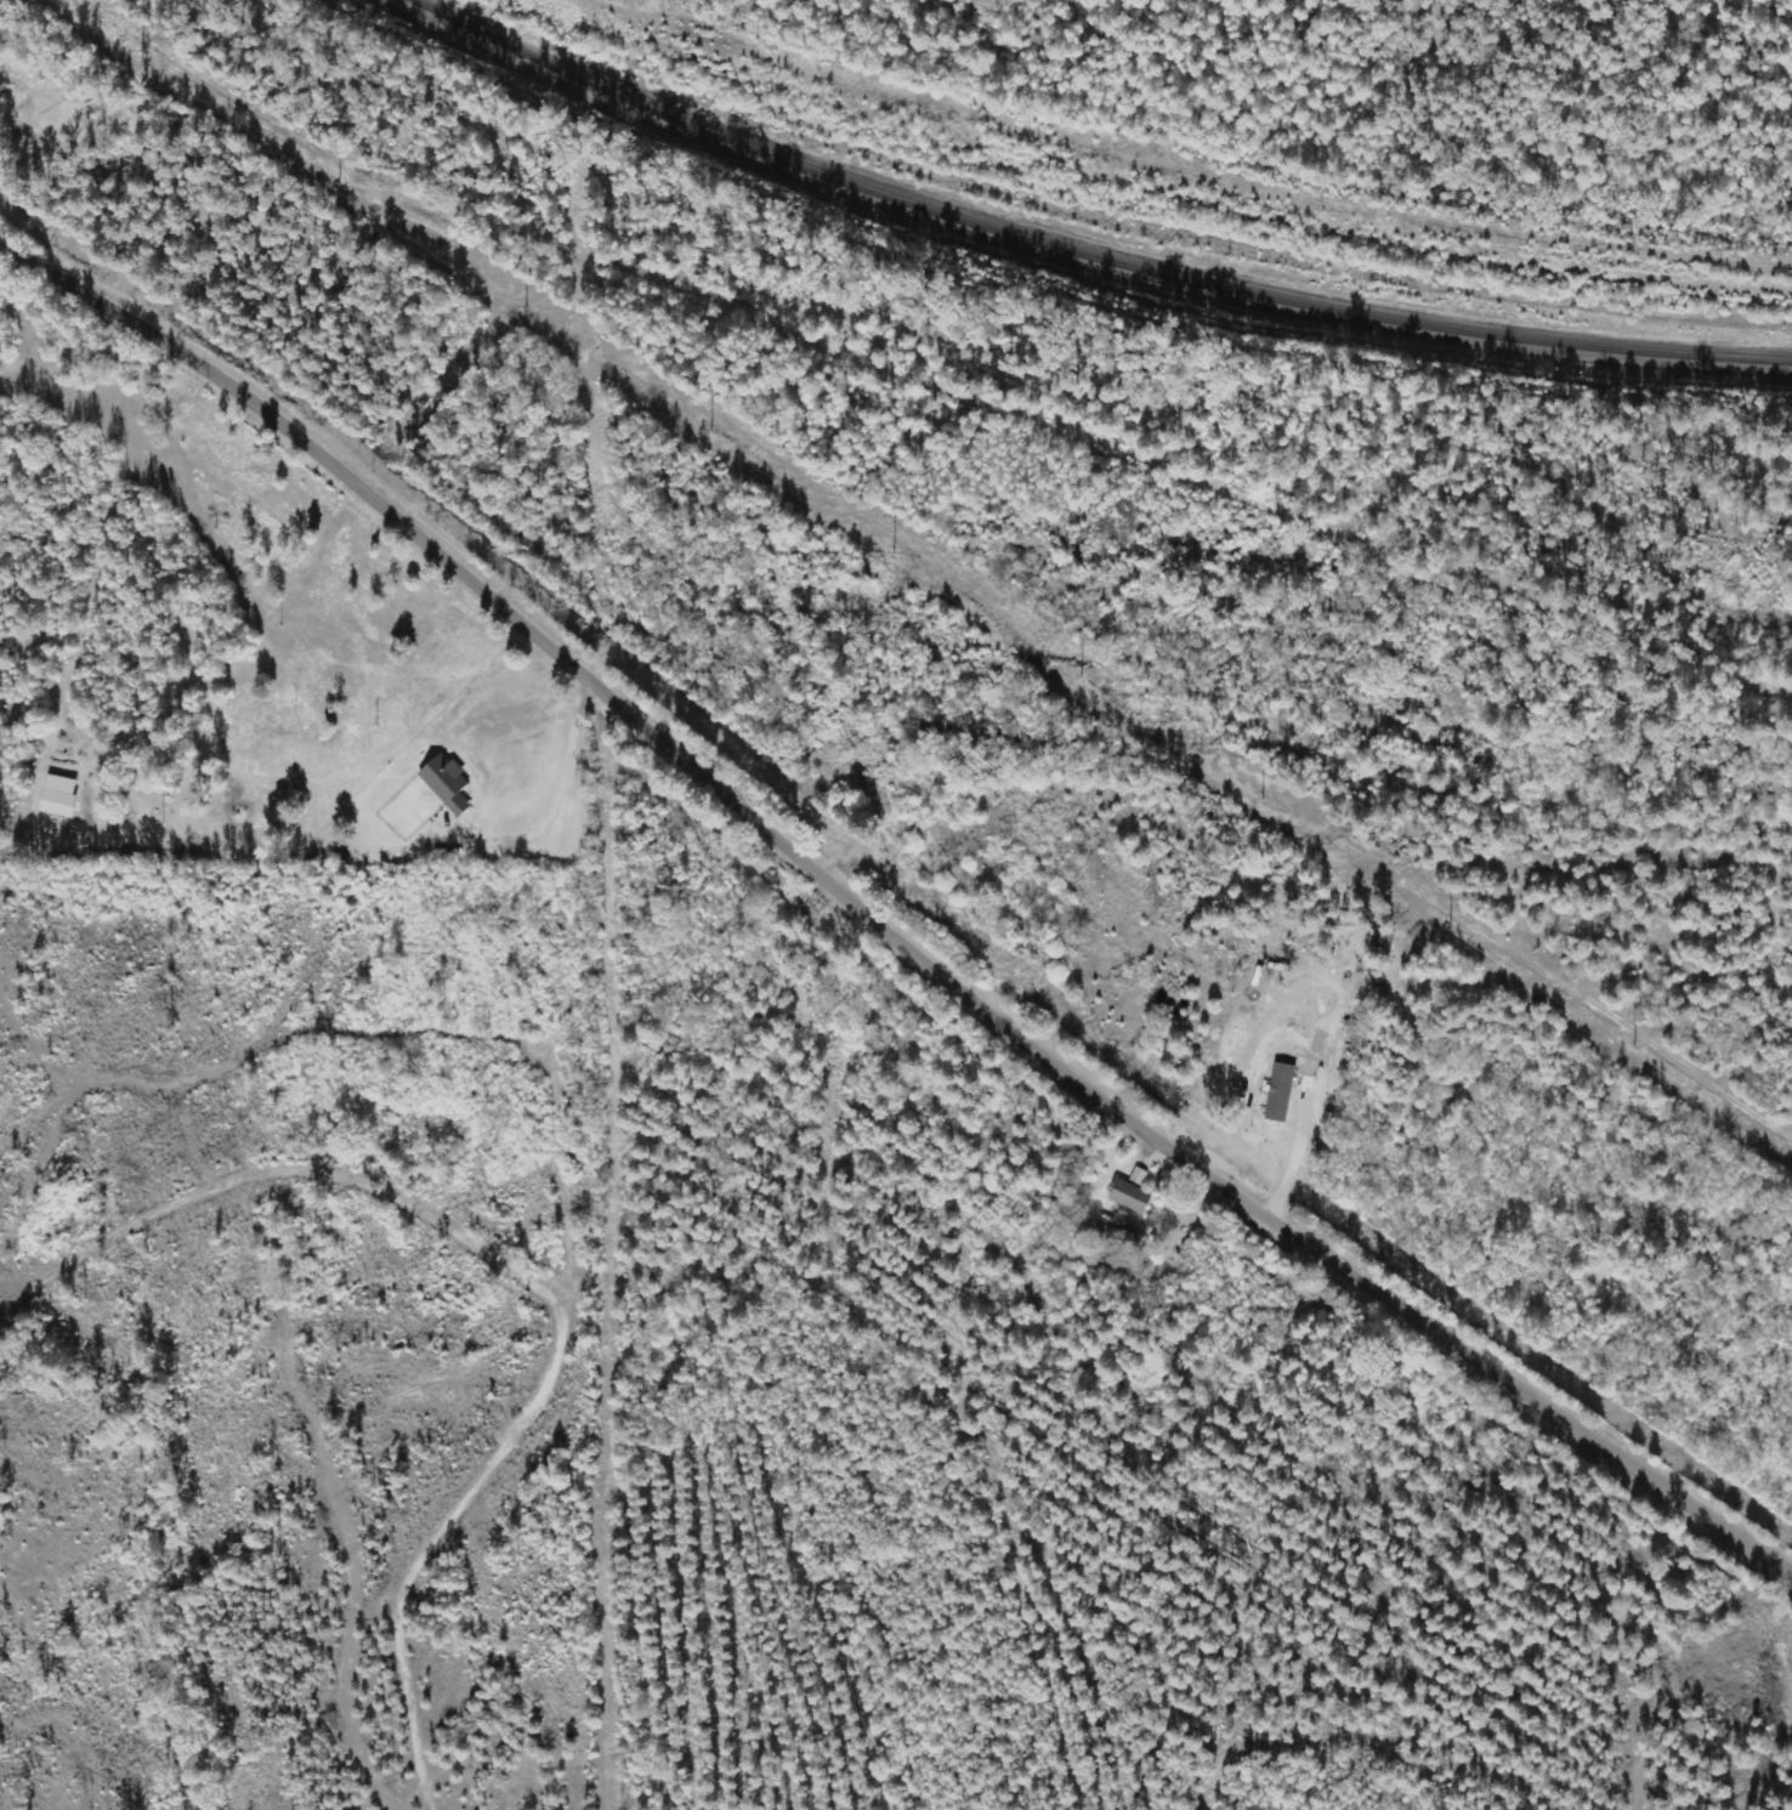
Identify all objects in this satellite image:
railway: (1091, 260)
building: (453, 784)
building: (66, 795)
road: (880, 927)
building: (1286, 1093)
building: (1142, 1175)
building: (1136, 1197)

